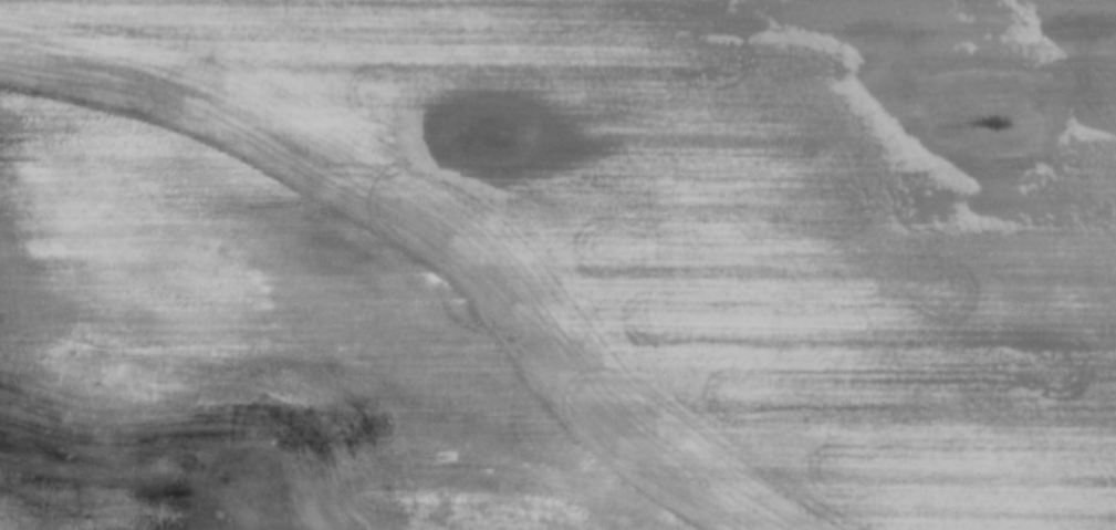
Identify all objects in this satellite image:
crop: (557, 264)

